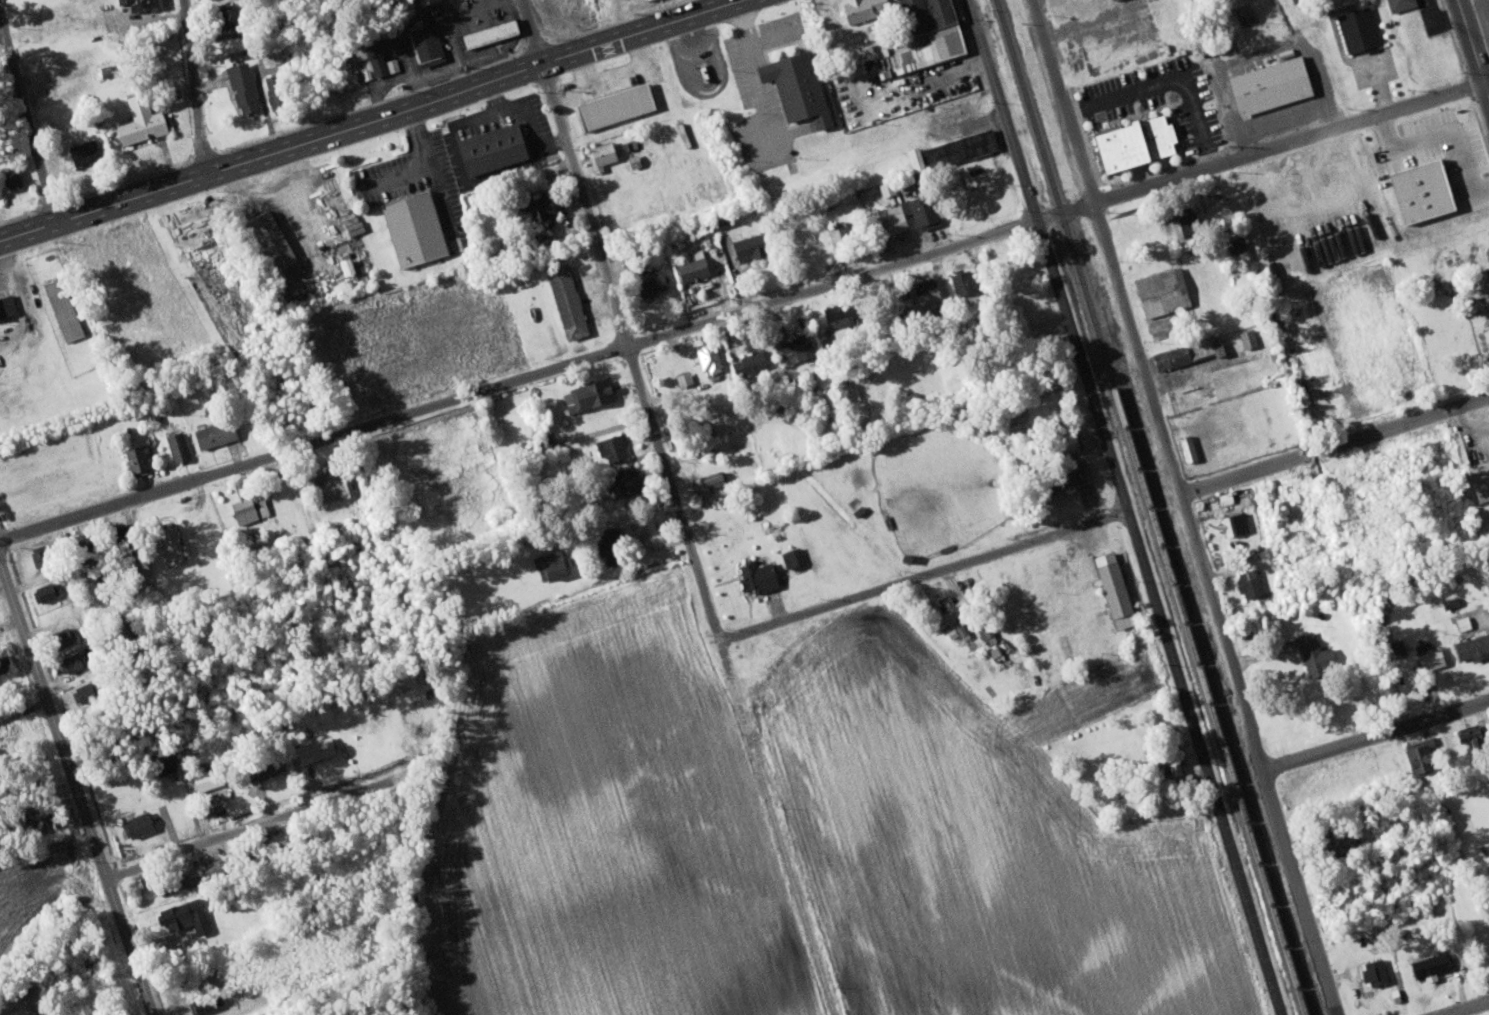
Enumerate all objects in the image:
road: (1473, 3)
building: (142, 4)
building: (1399, 4)
building: (861, 8)
building: (225, 15)
building: (1358, 29)
building: (487, 32)
road: (531, 33)
road: (5, 40)
building: (943, 40)
building: (426, 41)
road: (1475, 44)
road: (1483, 48)
building: (384, 54)
road: (1487, 80)
building: (1269, 85)
building: (796, 86)
road: (195, 87)
building: (242, 87)
building: (614, 106)
road: (28, 112)
building: (139, 121)
road: (369, 122)
building: (1131, 143)
building: (961, 147)
building: (491, 151)
building: (82, 152)
building: (603, 154)
building: (913, 159)
building: (12, 178)
building: (1419, 190)
building: (535, 205)
building: (920, 212)
building: (1217, 213)
building: (888, 220)
building: (1185, 222)
building: (412, 228)
building: (837, 232)
building: (1237, 245)
building: (747, 247)
building: (1488, 249)
building: (273, 252)
building: (642, 264)
building: (693, 270)
building: (962, 282)
building: (650, 283)
building: (1161, 292)
building: (926, 295)
building: (566, 301)
building: (898, 301)
building: (6, 306)
building: (62, 309)
road: (742, 310)
building: (834, 312)
building: (839, 332)
building: (1247, 338)
building: (795, 348)
building: (1187, 353)
building: (708, 358)
building: (752, 361)
building: (684, 378)
building: (587, 395)
building: (214, 434)
building: (1061, 442)
building: (178, 446)
building: (1187, 446)
building: (611, 448)
building: (137, 459)
building: (1063, 475)
building: (1478, 476)
building: (624, 477)
building: (708, 481)
building: (332, 488)
building: (257, 500)
road: (1128, 507)
railway: (1152, 507)
road: (1188, 507)
building: (241, 510)
road: (1104, 517)
building: (1235, 522)
road: (689, 540)
building: (611, 544)
building: (171, 545)
building: (793, 557)
building: (550, 563)
building: (757, 575)
building: (1249, 582)
building: (1114, 588)
building: (45, 590)
building: (942, 610)
road: (11, 627)
building: (60, 636)
building: (1473, 645)
building: (1398, 646)
building: (1314, 652)
building: (1428, 654)
building: (73, 660)
building: (4, 663)
building: (1464, 733)
road: (1375, 734)
building: (314, 748)
building: (1420, 755)
building: (1173, 761)
building: (165, 763)
building: (263, 766)
building: (205, 778)
road: (76, 785)
building: (42, 818)
building: (137, 823)
road: (252, 828)
building: (1336, 843)
building: (174, 883)
building: (184, 915)
building: (1430, 963)
building: (1373, 970)
building: (205, 1002)
road: (1468, 1008)

